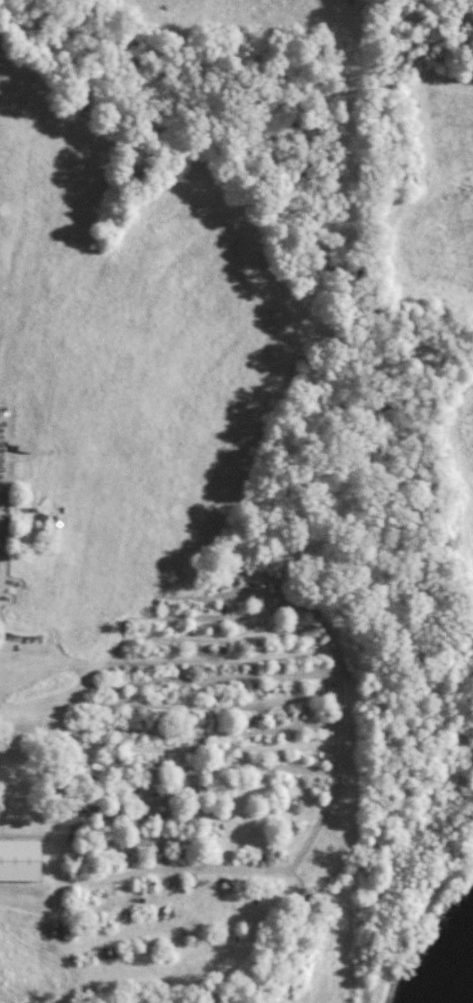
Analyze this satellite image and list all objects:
building: (1, 811)
building: (19, 859)

